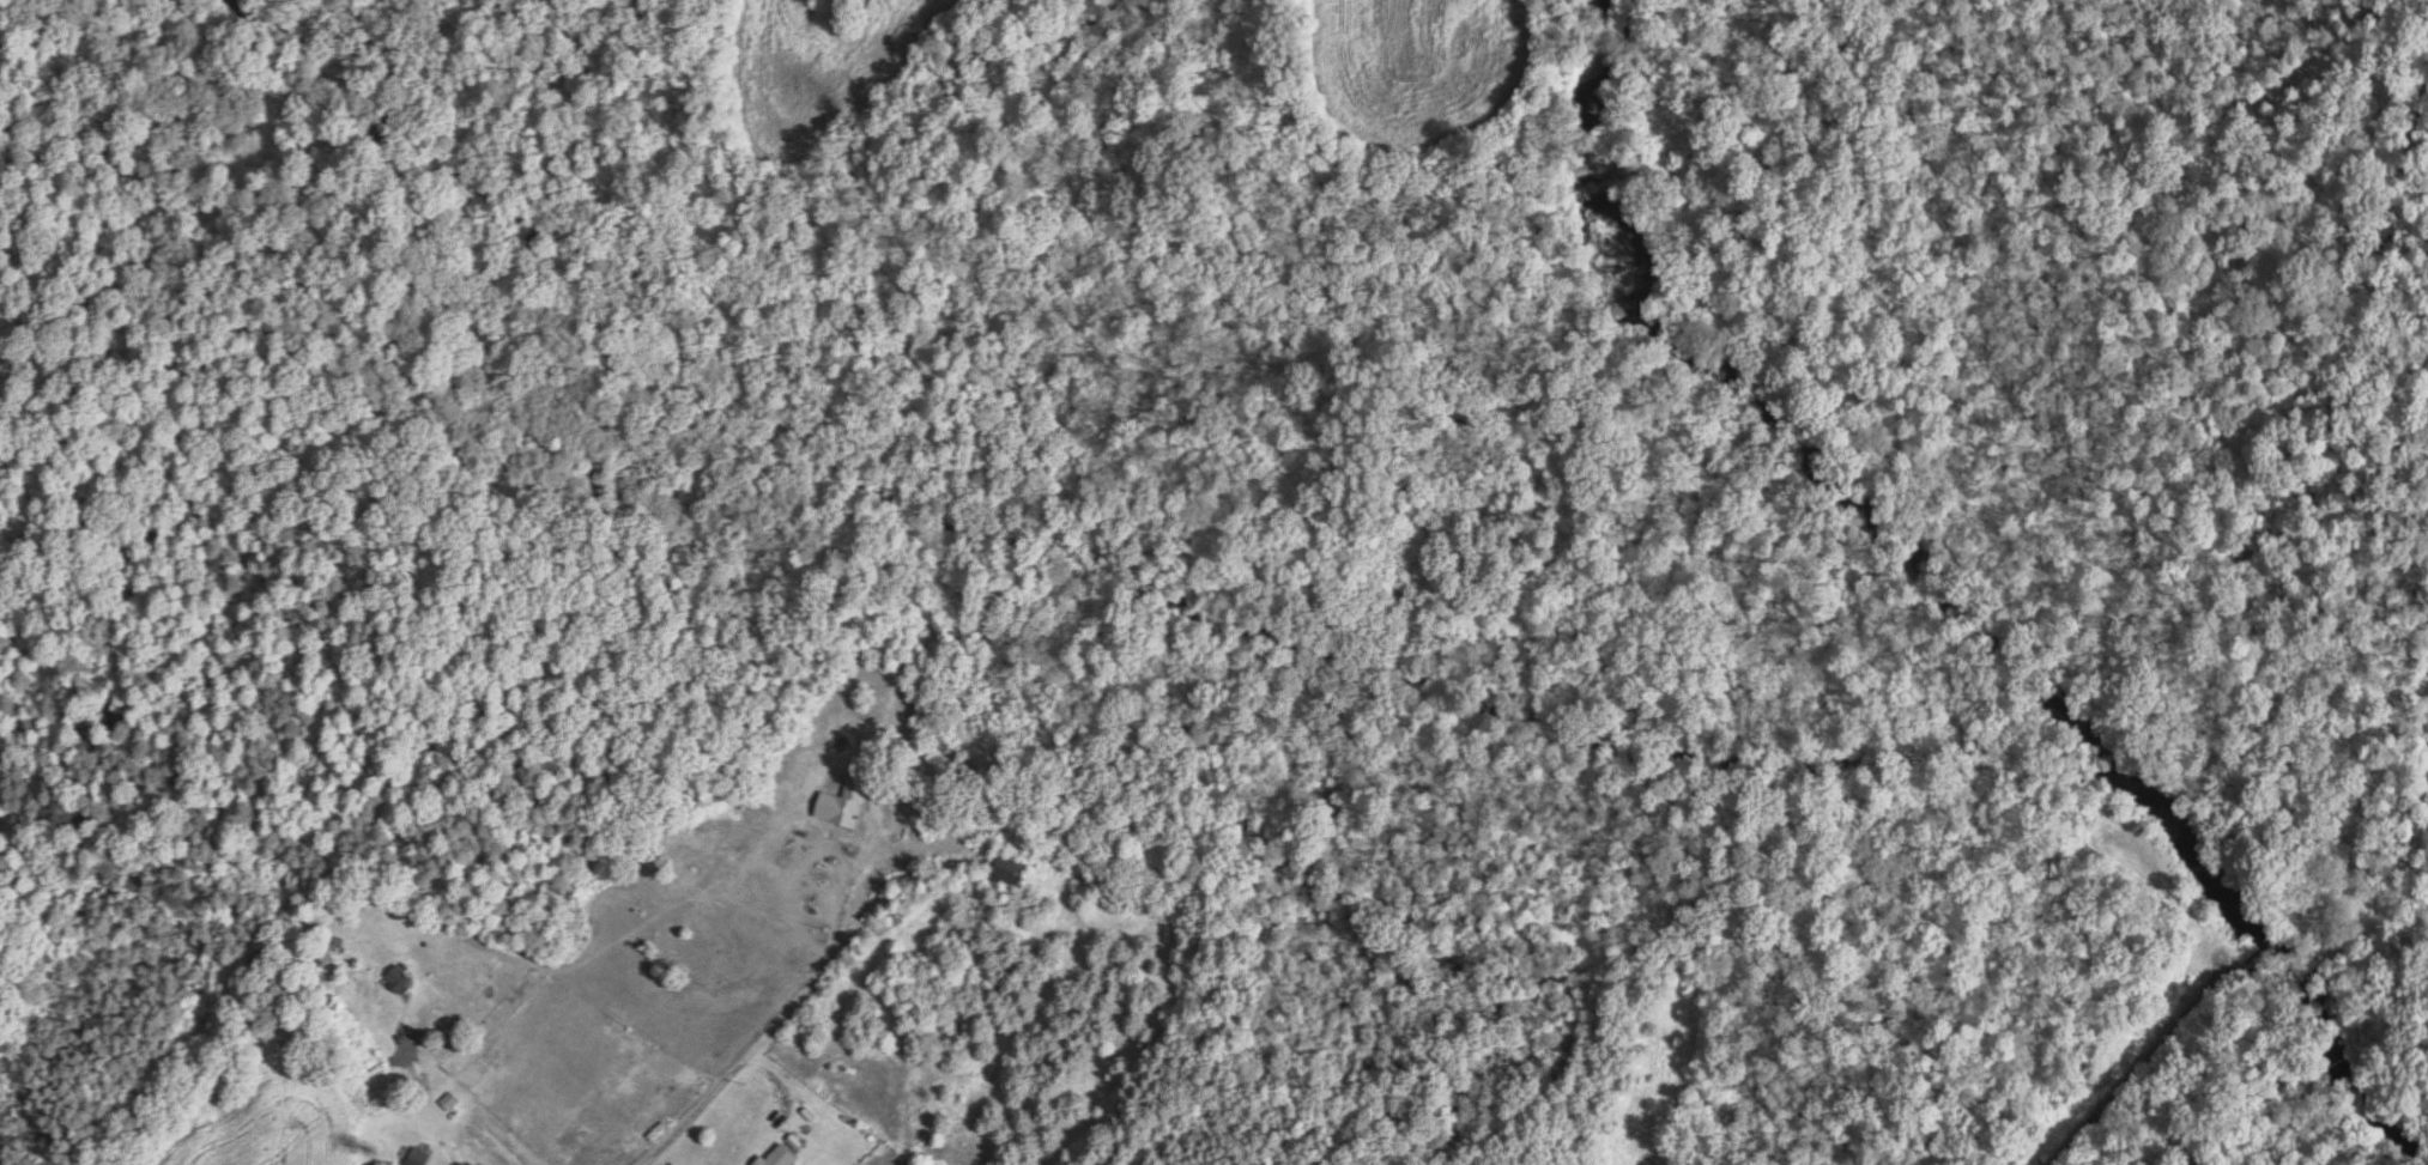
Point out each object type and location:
road: (872, 769)
building: (843, 805)
building: (1009, 869)
building: (380, 1003)
road: (2157, 1048)
road: (733, 1068)
road: (428, 1098)
building: (449, 1103)
building: (418, 1157)
building: (781, 1157)

